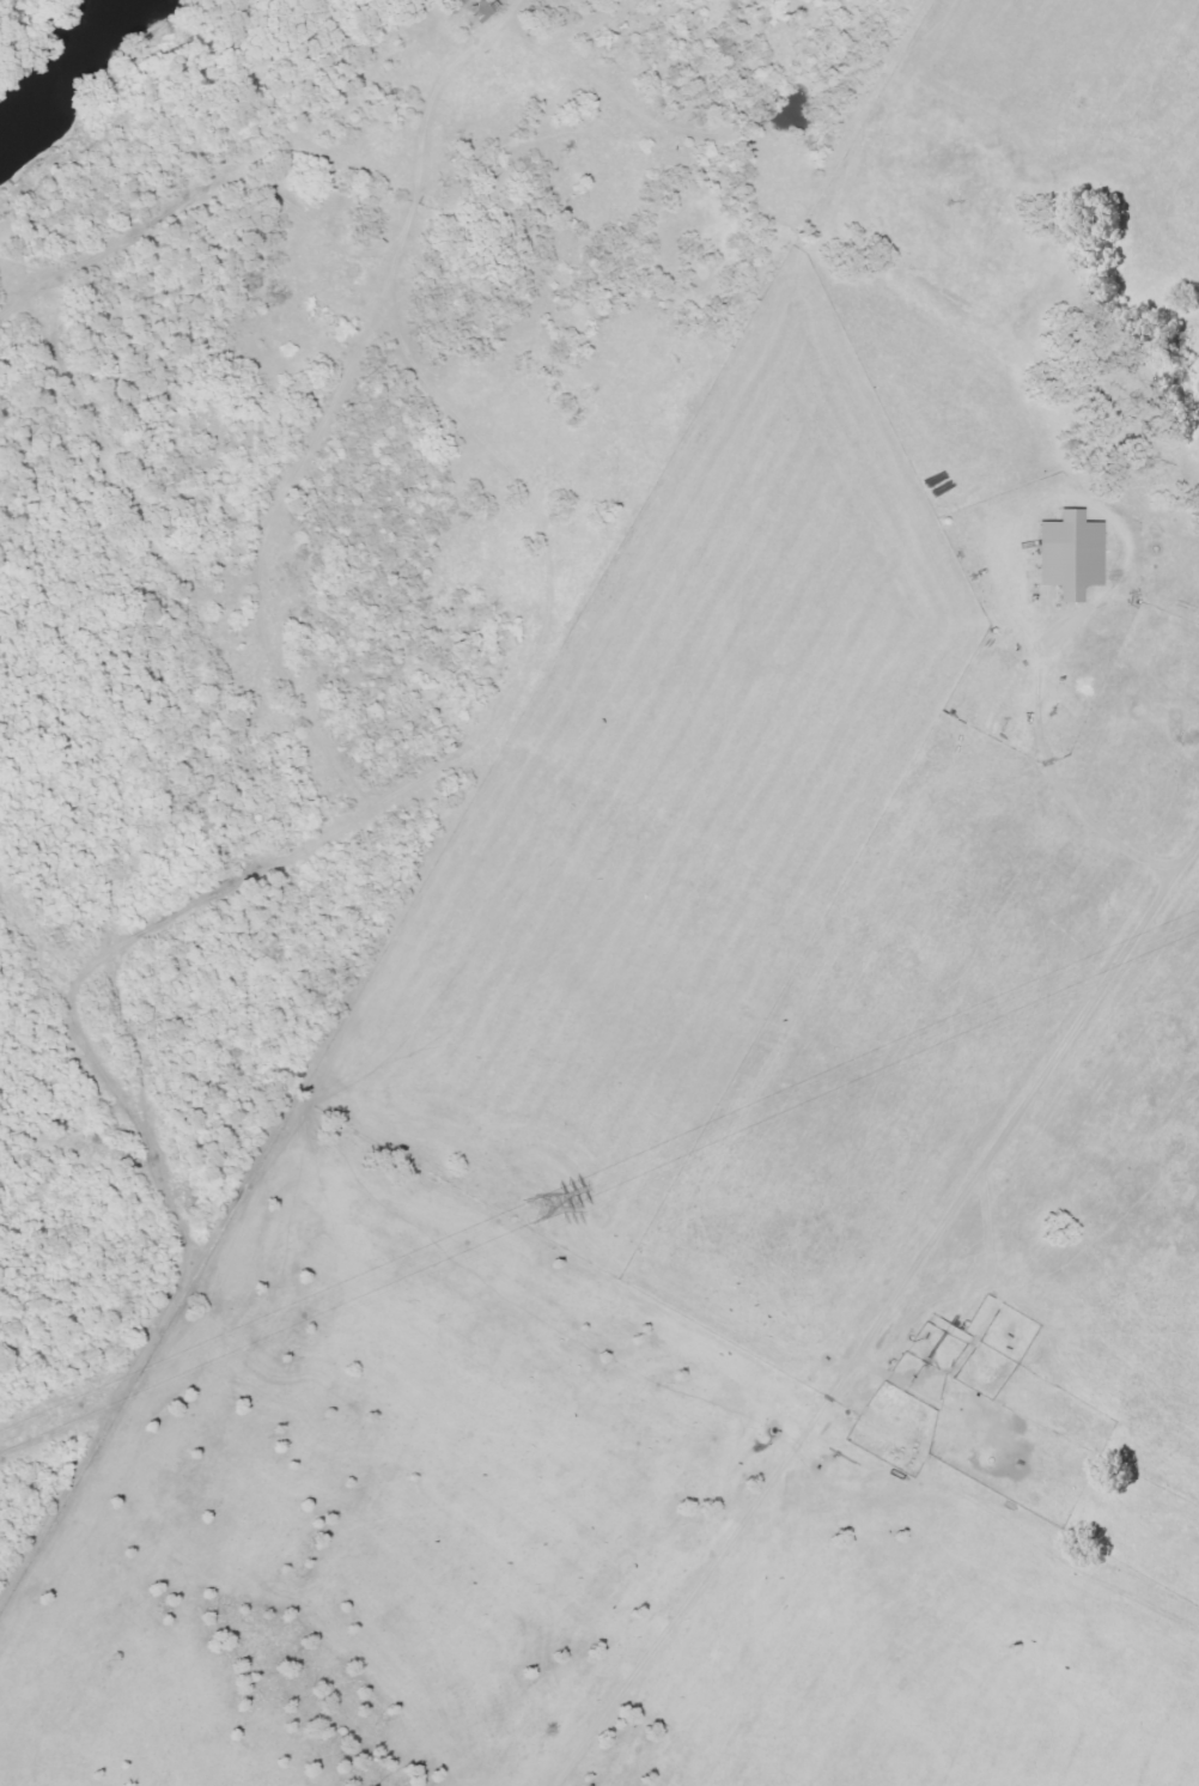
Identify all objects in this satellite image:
road: (247, 170)
building: (1071, 554)
road: (1045, 606)
road: (1128, 934)
power tower: (530, 1213)
road: (912, 1399)

